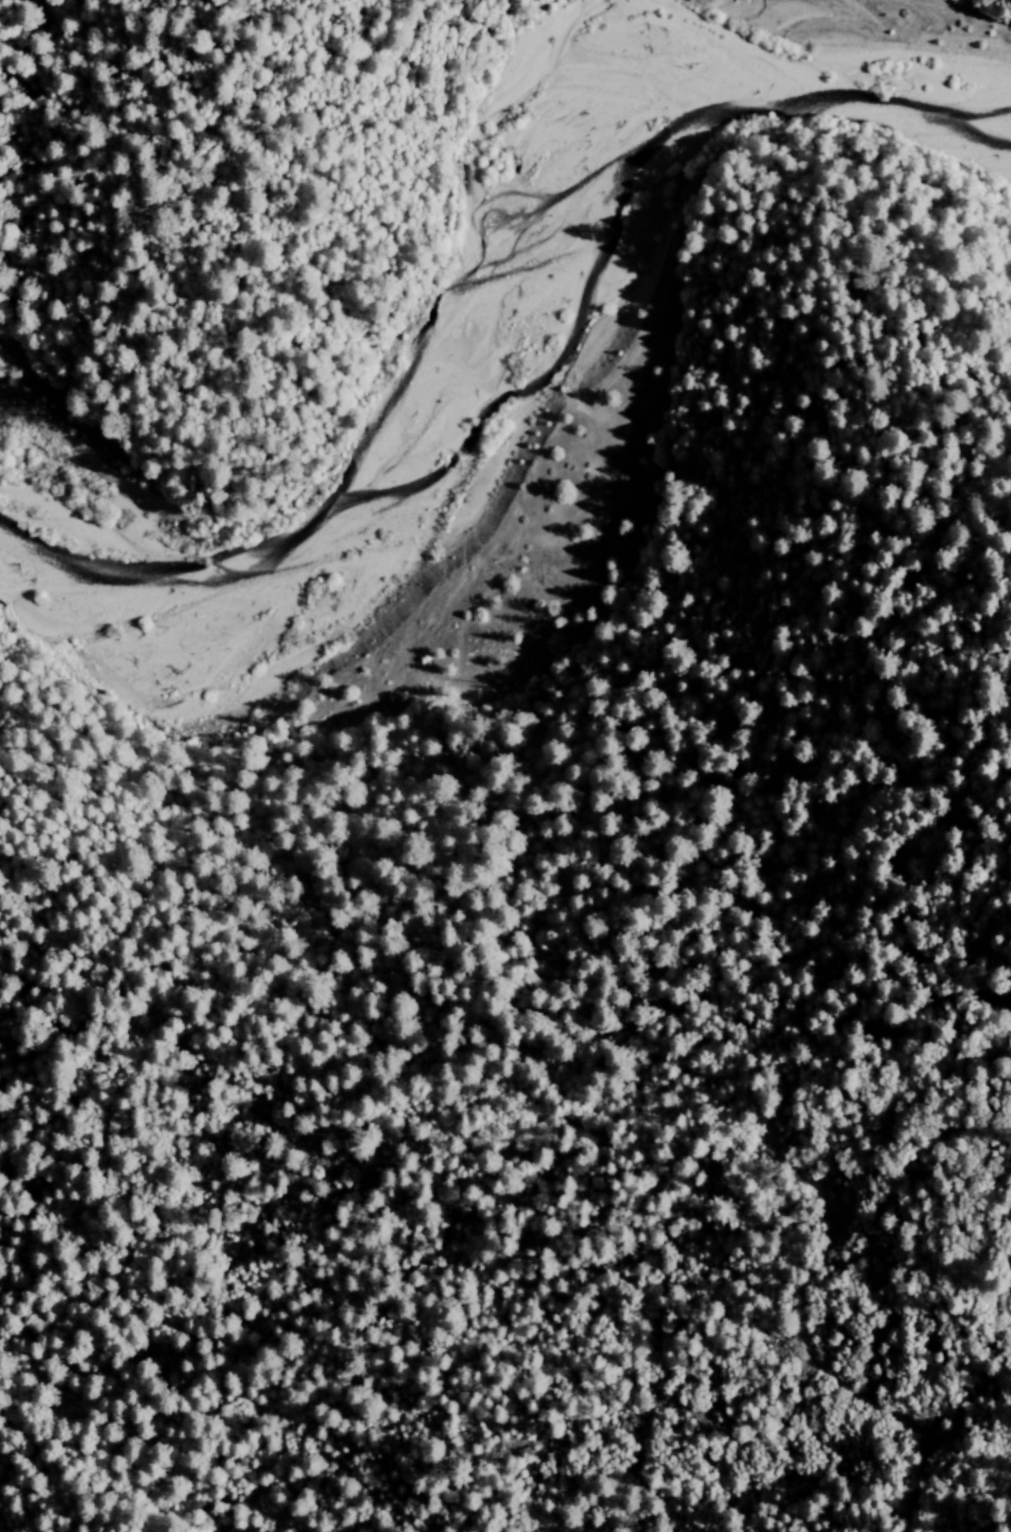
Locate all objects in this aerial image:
river: (445, 283)
road: (910, 926)
road: (349, 1183)
road: (848, 1350)

